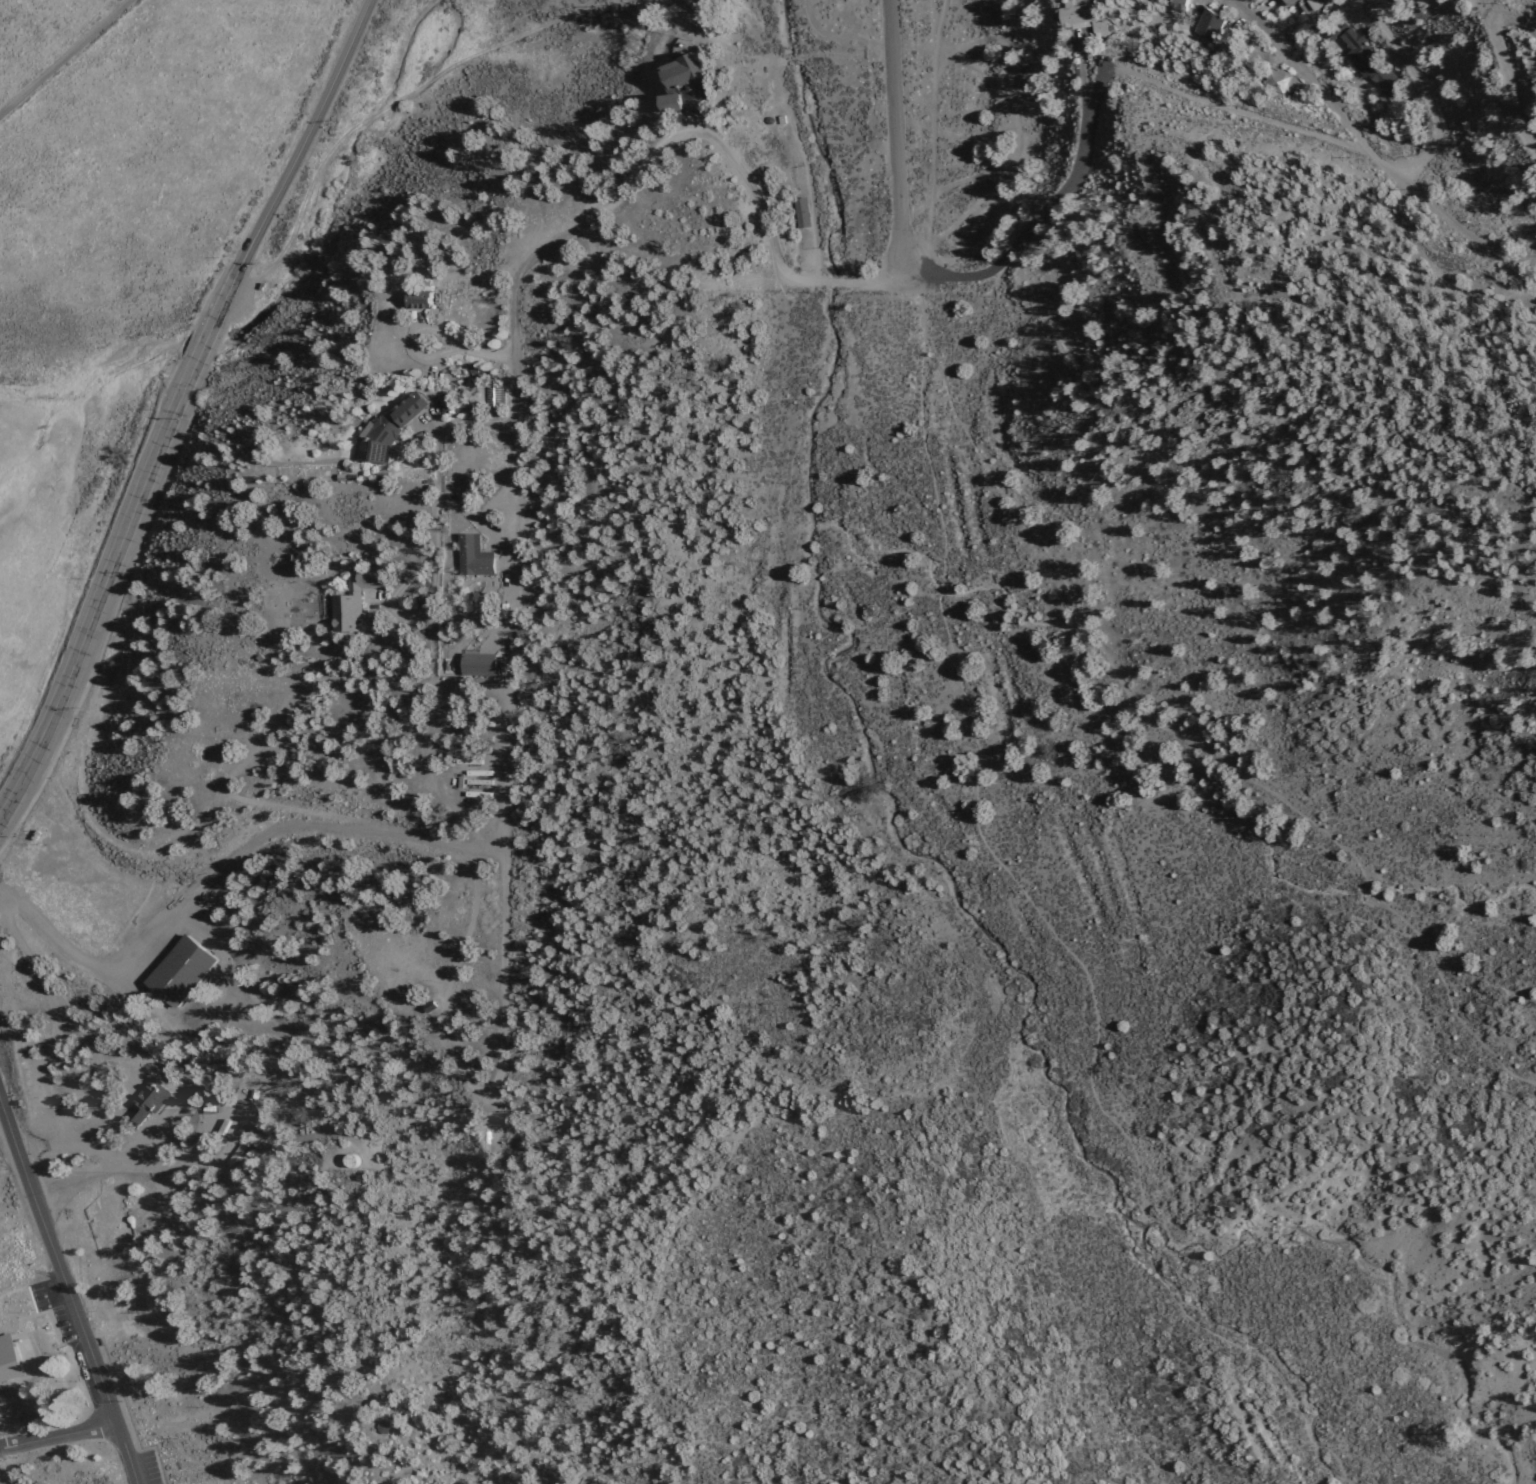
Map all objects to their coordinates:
building: (1282, 2)
building: (1173, 5)
building: (1303, 5)
building: (1077, 17)
building: (1204, 25)
road: (64, 57)
building: (1361, 58)
road: (1504, 66)
road: (1298, 75)
building: (668, 79)
building: (1273, 80)
road: (1420, 91)
road: (1177, 92)
road: (894, 132)
road: (303, 147)
road: (633, 178)
building: (412, 299)
building: (382, 428)
road: (117, 556)
building: (468, 556)
building: (346, 599)
building: (473, 664)
road: (222, 865)
road: (505, 892)
building: (180, 971)
road: (447, 986)
road: (45, 1068)
building: (148, 1101)
road: (189, 1158)
building: (159, 1208)
building: (114, 1230)
road: (69, 1289)
parking lot: (71, 1329)
building: (10, 1360)
road: (60, 1438)
road: (371, 1463)

